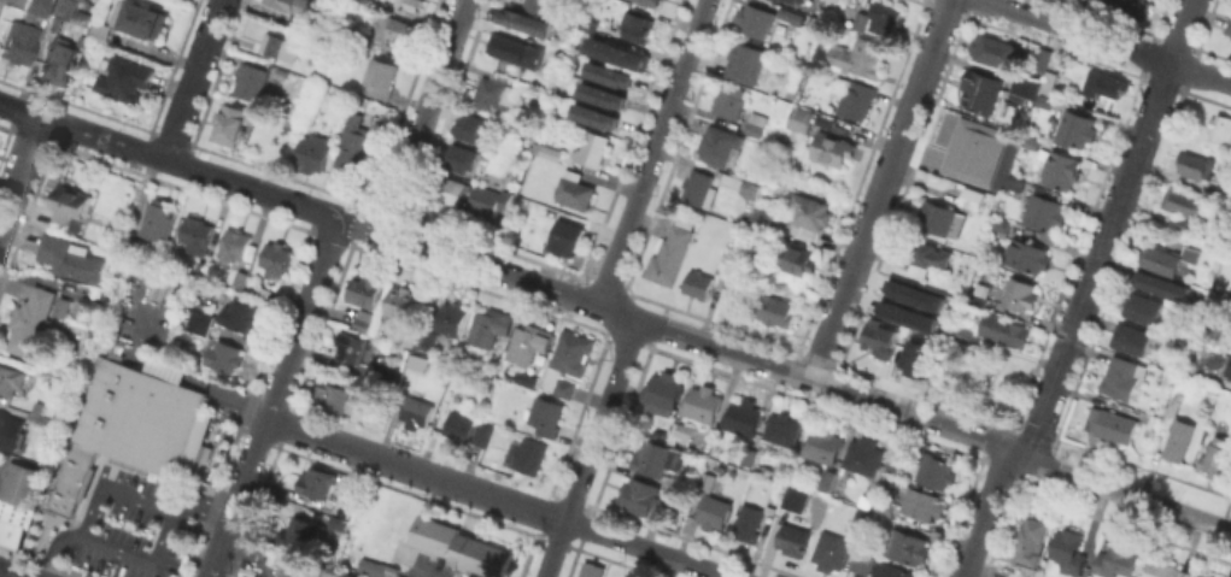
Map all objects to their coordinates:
building: (84, 0)
building: (796, 0)
building: (652, 1)
building: (411, 4)
building: (293, 5)
building: (541, 5)
building: (1133, 5)
building: (65, 8)
building: (787, 14)
building: (885, 17)
building: (526, 19)
building: (752, 19)
building: (860, 19)
building: (142, 20)
building: (309, 23)
building: (588, 23)
building: (638, 27)
building: (1229, 27)
building: (398, 29)
building: (23, 33)
building: (99, 33)
building: (359, 37)
road: (1106, 41)
building: (280, 46)
building: (517, 49)
building: (995, 49)
building: (617, 52)
building: (858, 55)
building: (1042, 58)
building: (61, 59)
building: (746, 61)
building: (610, 72)
building: (380, 76)
road: (192, 80)
building: (125, 81)
building: (252, 81)
building: (1053, 82)
building: (1104, 83)
building: (1026, 86)
building: (980, 90)
building: (494, 93)
building: (546, 95)
building: (602, 95)
building: (854, 96)
building: (729, 100)
building: (1044, 100)
building: (594, 114)
road: (422, 116)
building: (801, 118)
building: (756, 122)
building: (231, 123)
building: (1220, 126)
building: (475, 128)
building: (1075, 128)
building: (1031, 141)
building: (352, 143)
building: (721, 145)
building: (592, 148)
building: (832, 148)
building: (974, 151)
building: (315, 152)
building: (552, 153)
road: (651, 153)
building: (463, 159)
road: (169, 160)
building: (1195, 164)
building: (1060, 167)
road: (20, 172)
building: (740, 183)
building: (1014, 186)
building: (699, 187)
building: (451, 189)
building: (575, 189)
road: (881, 189)
building: (972, 198)
building: (492, 199)
building: (1183, 202)
building: (71, 204)
building: (810, 211)
building: (1045, 212)
building: (156, 217)
building: (767, 217)
building: (938, 217)
building: (1184, 223)
building: (1002, 224)
road: (359, 225)
building: (110, 231)
building: (198, 236)
building: (568, 236)
building: (127, 237)
building: (236, 246)
building: (673, 251)
building: (931, 254)
building: (1028, 255)
building: (71, 258)
building: (277, 258)
building: (1167, 258)
building: (799, 259)
building: (725, 264)
building: (240, 278)
building: (737, 278)
building: (701, 283)
building: (1162, 284)
building: (367, 289)
building: (979, 294)
building: (1020, 294)
road: (1085, 294)
building: (918, 295)
building: (1215, 300)
building: (401, 301)
building: (63, 307)
building: (1144, 307)
building: (774, 308)
building: (240, 314)
building: (910, 314)
building: (365, 318)
building: (452, 318)
building: (31, 320)
building: (200, 320)
building: (490, 325)
building: (1006, 330)
building: (963, 332)
building: (408, 335)
building: (880, 335)
building: (424, 338)
building: (1133, 340)
building: (529, 342)
building: (351, 346)
building: (570, 352)
building: (225, 355)
building: (926, 360)
building: (416, 363)
building: (1227, 367)
building: (388, 369)
building: (11, 377)
road: (807, 377)
building: (1121, 377)
building: (524, 378)
building: (562, 387)
building: (336, 390)
building: (664, 391)
road: (272, 398)
building: (703, 402)
building: (31, 405)
building: (1173, 406)
building: (417, 410)
building: (547, 416)
building: (744, 417)
building: (1112, 424)
building: (1153, 424)
building: (459, 425)
building: (127, 426)
building: (782, 429)
building: (686, 430)
building: (10, 431)
building: (482, 432)
building: (1179, 438)
building: (823, 443)
road: (590, 448)
building: (201, 451)
building: (527, 454)
building: (1218, 455)
building: (653, 457)
building: (748, 457)
building: (871, 459)
building: (791, 460)
building: (934, 469)
road: (415, 470)
building: (828, 478)
building: (317, 481)
building: (18, 482)
building: (709, 482)
building: (838, 482)
road: (107, 485)
building: (643, 497)
building: (786, 504)
building: (922, 504)
building: (884, 506)
building: (714, 512)
building: (858, 517)
building: (752, 520)
building: (338, 523)
parking lot: (128, 528)
building: (10, 532)
building: (301, 532)
building: (793, 538)
building: (1030, 538)
building: (463, 543)
building: (907, 546)
road: (646, 548)
building: (1068, 549)
building: (832, 550)
road: (147, 559)
building: (1116, 560)
building: (862, 561)
building: (307, 569)
building: (392, 570)
building: (1165, 570)
building: (892, 571)
building: (594, 572)
road: (8, 573)
building: (1015, 575)
building: (242, 576)
road: (415, 576)
building: (626, 576)
building: (1195, 576)
building: (1206, 576)

